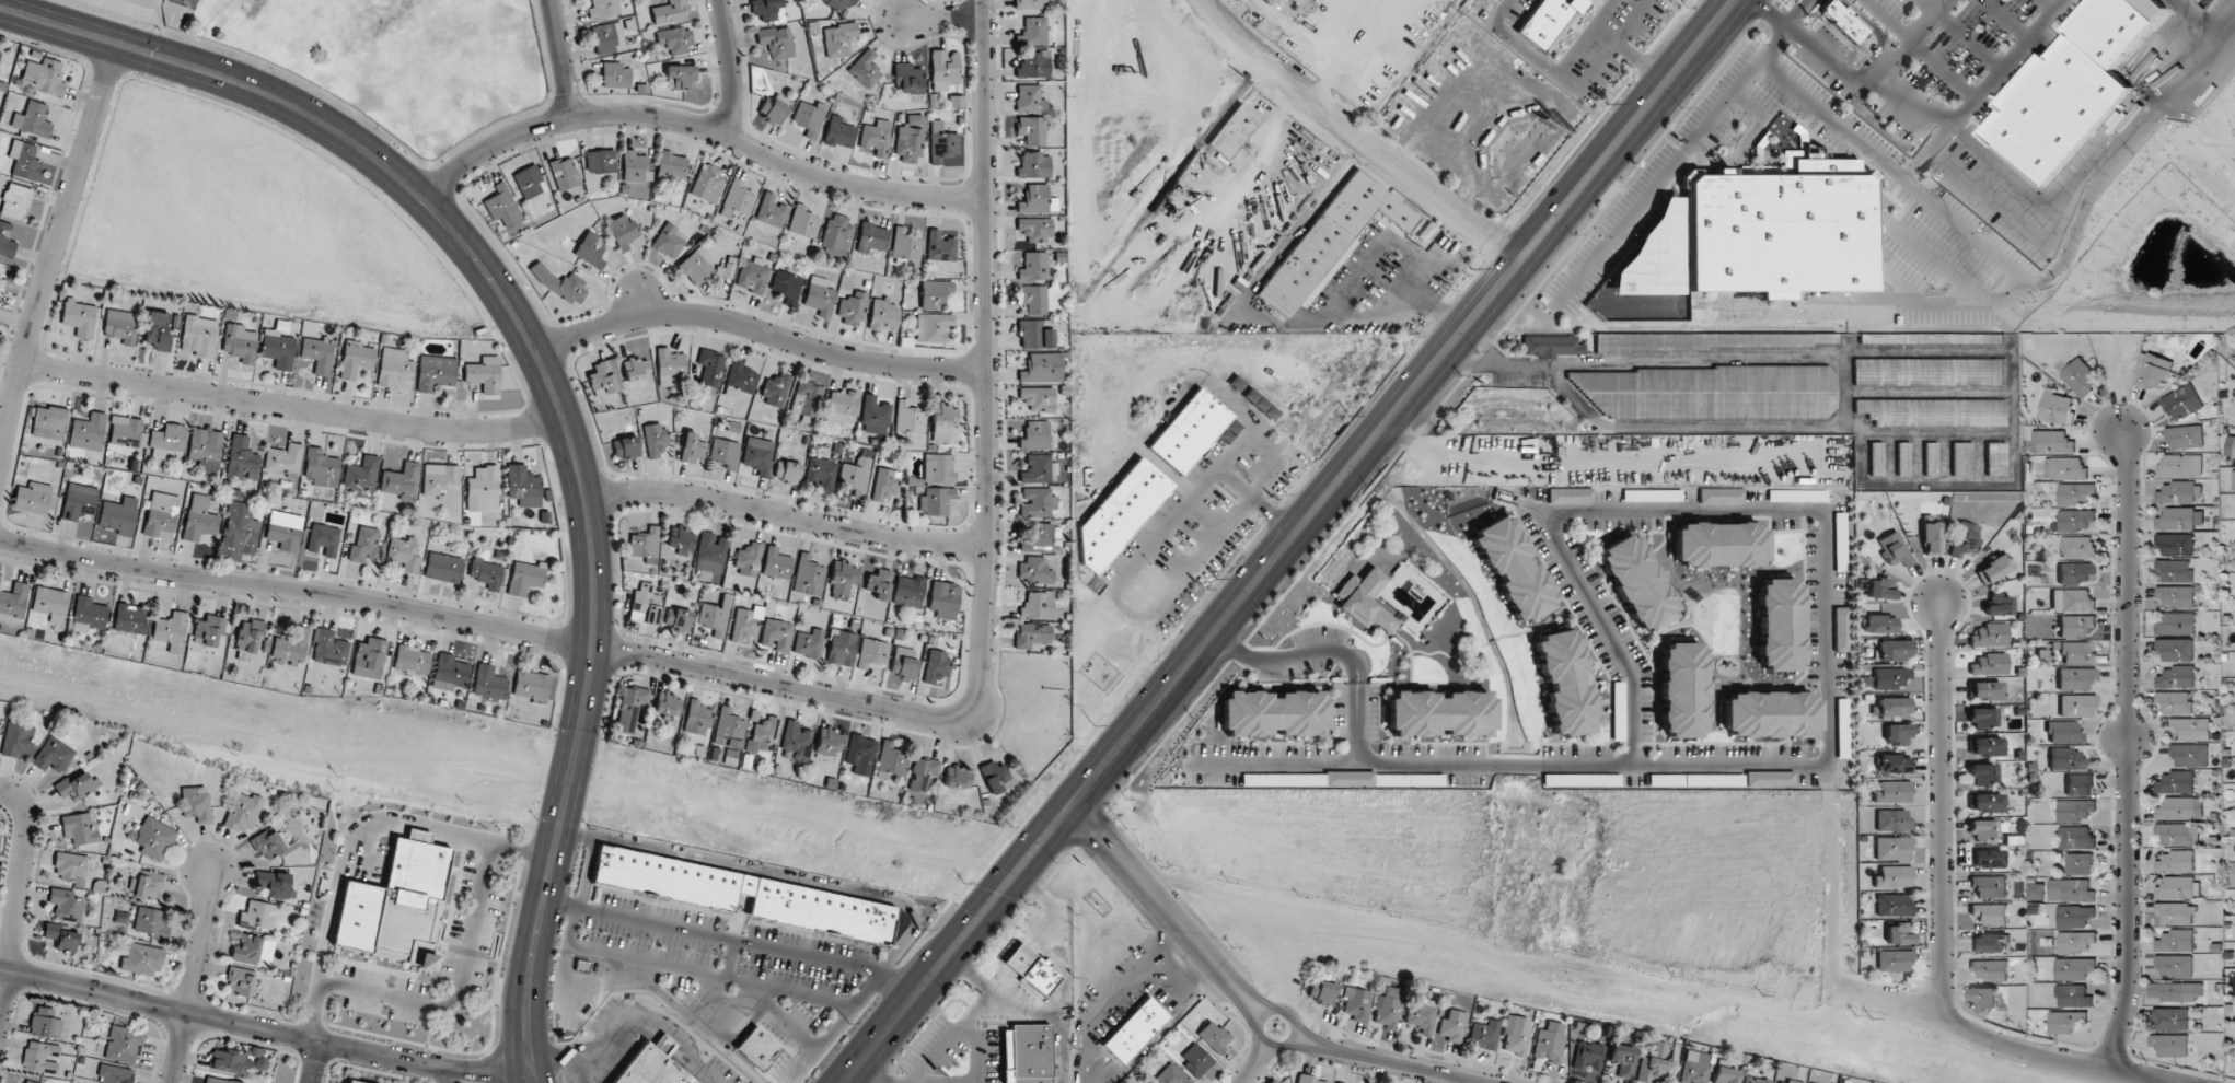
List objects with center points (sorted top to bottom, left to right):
building: (2210, 1)
building: (839, 4)
building: (1030, 4)
building: (603, 9)
building: (766, 10)
building: (669, 12)
road: (1792, 16)
road: (940, 18)
building: (1842, 21)
building: (1549, 22)
road: (2202, 23)
building: (1034, 31)
building: (609, 37)
building: (675, 38)
building: (838, 39)
building: (776, 42)
building: (0, 45)
road: (561, 58)
building: (1033, 65)
road: (731, 68)
building: (865, 69)
building: (942, 69)
building: (43, 75)
building: (615, 75)
building: (681, 77)
building: (907, 78)
building: (2070, 89)
building: (1029, 98)
power tower: (1605, 103)
building: (773, 110)
road: (1911, 115)
building: (809, 117)
building: (32, 119)
park: (1484, 119)
road: (697, 125)
building: (1031, 129)
building: (1234, 130)
building: (838, 132)
road: (1355, 136)
building: (875, 138)
building: (910, 139)
building: (942, 147)
building: (24, 160)
building: (600, 161)
building: (671, 165)
building: (1033, 165)
building: (564, 173)
building: (635, 174)
building: (529, 182)
building: (707, 184)
building: (738, 198)
building: (1037, 199)
building: (14, 200)
building: (502, 206)
building: (771, 211)
building: (803, 220)
building: (1034, 229)
building: (1780, 229)
building: (622, 232)
building: (836, 232)
building: (871, 237)
building: (5, 240)
building: (668, 241)
building: (1330, 241)
building: (904, 244)
road: (54, 246)
building: (939, 246)
building: (591, 248)
building: (0, 265)
building: (696, 266)
building: (1033, 266)
building: (726, 268)
power tower: (1469, 268)
building: (753, 276)
building: (559, 282)
building: (1, 286)
building: (787, 286)
building: (934, 293)
building: (819, 296)
building: (1032, 299)
building: (852, 310)
building: (883, 315)
building: (79, 317)
building: (120, 325)
building: (933, 327)
building: (158, 330)
road: (758, 330)
building: (1033, 335)
building: (198, 336)
building: (1931, 338)
building: (1712, 340)
road: (531, 341)
building: (240, 342)
building: (1550, 346)
building: (278, 347)
building: (317, 353)
road: (985, 357)
building: (356, 359)
building: (394, 368)
building: (669, 368)
building: (709, 368)
building: (1041, 368)
building: (636, 369)
building: (435, 372)
building: (1929, 372)
building: (2154, 372)
building: (484, 374)
building: (603, 376)
building: (2080, 377)
building: (739, 379)
building: (775, 391)
building: (1707, 392)
building: (804, 397)
building: (1038, 399)
building: (2181, 403)
building: (1260, 404)
building: (841, 406)
road: (291, 407)
building: (2055, 407)
building: (1932, 411)
building: (873, 416)
power tower: (1348, 416)
building: (907, 417)
building: (941, 418)
building: (48, 421)
building: (1191, 431)
building: (88, 432)
building: (126, 433)
building: (1034, 435)
building: (2185, 436)
building: (166, 440)
building: (658, 442)
building: (2052, 442)
building: (2231, 446)
building: (625, 447)
building: (206, 449)
building: (692, 449)
building: (723, 452)
building: (757, 455)
building: (242, 457)
building: (1875, 458)
building: (1902, 458)
building: (1930, 458)
building: (1960, 458)
building: (1994, 458)
building: (283, 459)
building: (2181, 465)
building: (322, 467)
building: (937, 468)
building: (2065, 468)
building: (1038, 469)
building: (787, 471)
building: (822, 473)
building: (361, 475)
building: (856, 476)
building: (2234, 479)
building: (401, 480)
building: (440, 480)
building: (884, 484)
building: (523, 486)
building: (483, 489)
building: (2176, 492)
building: (2076, 493)
building: (1570, 496)
building: (1721, 496)
building: (32, 498)
building: (936, 500)
building: (79, 501)
building: (1035, 502)
building: (1119, 514)
building: (118, 515)
building: (161, 515)
road: (1678, 515)
road: (787, 516)
building: (199, 519)
building: (2177, 519)
building: (283, 529)
building: (239, 531)
building: (1840, 535)
building: (1035, 536)
building: (1931, 537)
building: (1964, 538)
building: (323, 539)
building: (680, 539)
road: (1288, 540)
building: (2176, 544)
building: (364, 545)
building: (645, 545)
building: (1718, 545)
building: (2078, 547)
building: (1895, 549)
building: (710, 552)
building: (404, 554)
building: (776, 563)
building: (443, 567)
building: (1512, 569)
building: (1992, 569)
building: (2175, 570)
building: (1033, 571)
building: (486, 573)
building: (2076, 573)
building: (808, 575)
building: (524, 578)
building: (841, 579)
power tower: (1215, 579)
building: (1635, 582)
building: (878, 583)
building: (1879, 589)
building: (907, 591)
building: (2175, 596)
building: (943, 599)
building: (1364, 599)
building: (2073, 599)
building: (13, 602)
building: (49, 603)
building: (645, 604)
building: (1997, 604)
building: (1035, 605)
building: (89, 613)
building: (716, 616)
building: (130, 618)
building: (679, 618)
building: (1779, 624)
building: (1879, 624)
road: (487, 625)
building: (2177, 625)
building: (744, 626)
building: (2076, 626)
building: (1841, 629)
building: (208, 630)
building: (170, 631)
building: (776, 634)
building: (1031, 634)
building: (1989, 636)
building: (251, 637)
building: (809, 643)
building: (291, 645)
building: (328, 648)
building: (841, 648)
road: (1324, 649)
building: (1891, 650)
building: (2175, 650)
building: (872, 653)
building: (2076, 653)
building: (369, 657)
building: (412, 660)
building: (904, 662)
building: (1989, 664)
building: (936, 666)
building: (449, 672)
building: (1889, 677)
building: (2176, 677)
building: (2075, 678)
building: (489, 683)
building: (1564, 683)
building: (531, 686)
building: (1681, 689)
building: (1985, 690)
building: (2175, 702)
building: (668, 703)
building: (2077, 706)
building: (630, 707)
building: (1891, 707)
building: (1273, 713)
building: (1439, 713)
building: (1770, 713)
building: (696, 718)
building: (1982, 718)
power tower: (1092, 726)
building: (2192, 727)
building: (728, 729)
building: (2063, 732)
building: (1897, 733)
building: (762, 735)
building: (18, 738)
building: (829, 741)
building: (795, 743)
building: (1987, 746)
building: (860, 754)
road: (2127, 754)
building: (53, 755)
building: (2190, 755)
road: (1507, 757)
building: (2066, 759)
building: (890, 760)
building: (1894, 764)
building: (922, 773)
building: (1981, 773)
building: (958, 777)
building: (996, 777)
building: (1348, 778)
building: (1769, 778)
building: (2176, 782)
building: (2078, 784)
building: (76, 787)
building: (1892, 792)
building: (1987, 802)
building: (196, 803)
building: (2181, 808)
building: (2075, 810)
road: (1939, 811)
building: (242, 812)
building: (1892, 820)
building: (79, 827)
building: (1982, 830)
building: (2178, 835)
building: (154, 838)
road: (352, 838)
building: (2076, 838)
building: (267, 845)
building: (1894, 848)
building: (1987, 859)
building: (2175, 862)
building: (2080, 863)
building: (69, 865)
building: (1894, 877)
power tower: (962, 883)
building: (149, 884)
building: (275, 884)
building: (1989, 886)
building: (2178, 887)
road: (18, 890)
building: (2036, 890)
building: (2070, 890)
building: (746, 896)
building: (396, 902)
building: (65, 904)
building: (1894, 905)
building: (1989, 913)
building: (2176, 913)
building: (257, 916)
building: (2075, 916)
building: (148, 921)
building: (1899, 933)
building: (60, 938)
road: (732, 939)
road: (1046, 941)
building: (2176, 941)
building: (2075, 942)
building: (1989, 943)
building: (252, 950)
building: (141, 959)
building: (1894, 960)
building: (2176, 966)
road: (1162, 968)
building: (2074, 968)
building: (1990, 969)
building: (1031, 971)
road: (195, 975)
building: (240, 980)
road: (459, 988)
building: (1321, 991)
building: (2175, 991)
building: (2074, 995)
road: (1242, 997)
building: (1985, 998)
building: (1356, 1003)
road: (1030, 1005)
building: (1389, 1008)
road: (974, 1011)
building: (1422, 1014)
building: (2172, 1018)
building: (2068, 1021)
building: (45, 1023)
power tower: (847, 1024)
building: (1451, 1025)
road: (520, 1028)
road: (957, 1028)
road: (532, 1029)
road: (269, 1030)
building: (1134, 1030)
building: (1484, 1034)
building: (1515, 1035)
building: (1214, 1036)
building: (1548, 1041)
building: (124, 1044)
building: (2170, 1045)
building: (757, 1049)
building: (1026, 1053)
road: (1260, 1056)
building: (1587, 1056)
building: (39, 1057)
road: (2055, 1057)
building: (1195, 1059)
building: (1621, 1060)
building: (230, 1061)
road: (315, 1062)
building: (652, 1064)
building: (1652, 1064)
building: (1692, 1069)
road: (872, 1072)
building: (1724, 1073)
building: (115, 1074)
building: (1170, 1075)
building: (217, 1080)
building: (1310, 1080)
building: (1755, 1080)
building: (27, 1081)
building: (1274, 1081)
building: (1785, 1081)
building: (354, 1082)
building: (1337, 1082)

